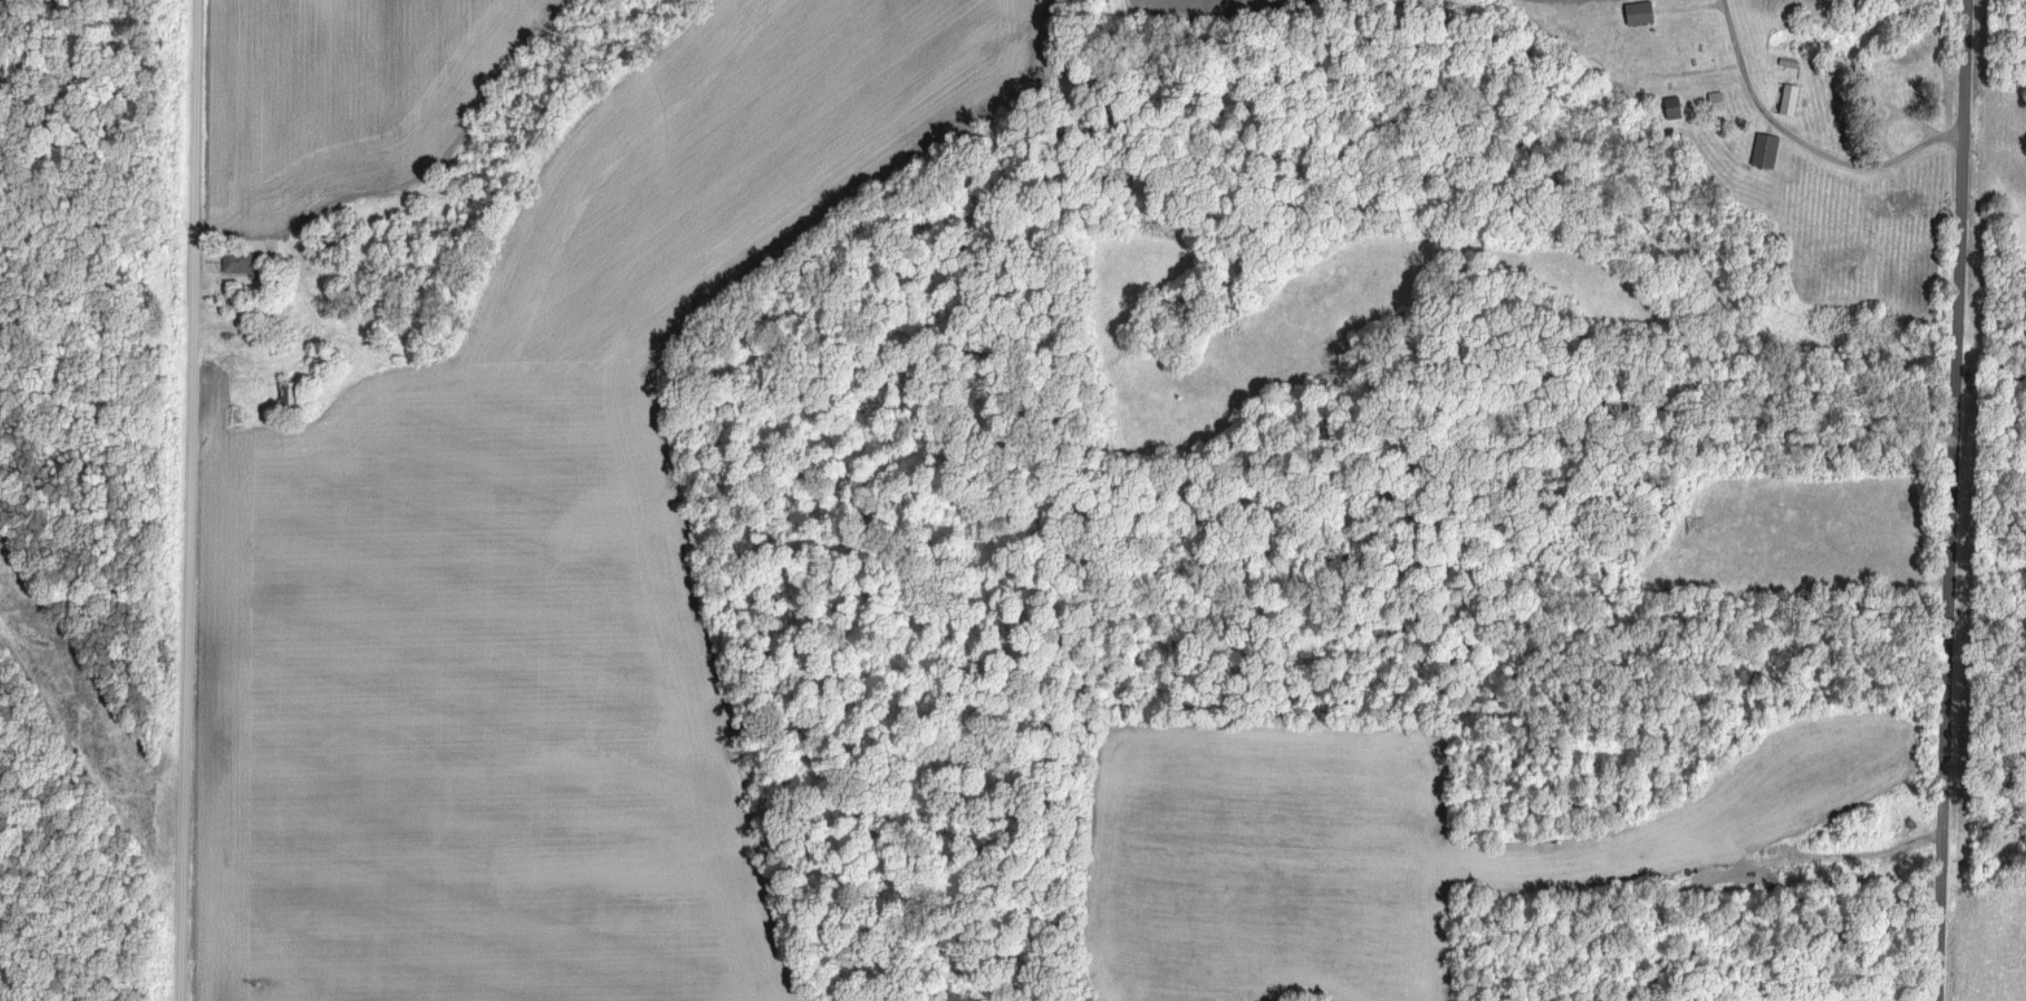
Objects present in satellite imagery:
building: (1641, 11)
building: (1790, 98)
building: (1716, 100)
building: (1675, 106)
building: (1767, 149)
building: (240, 261)
road: (188, 500)
road: (1945, 500)

